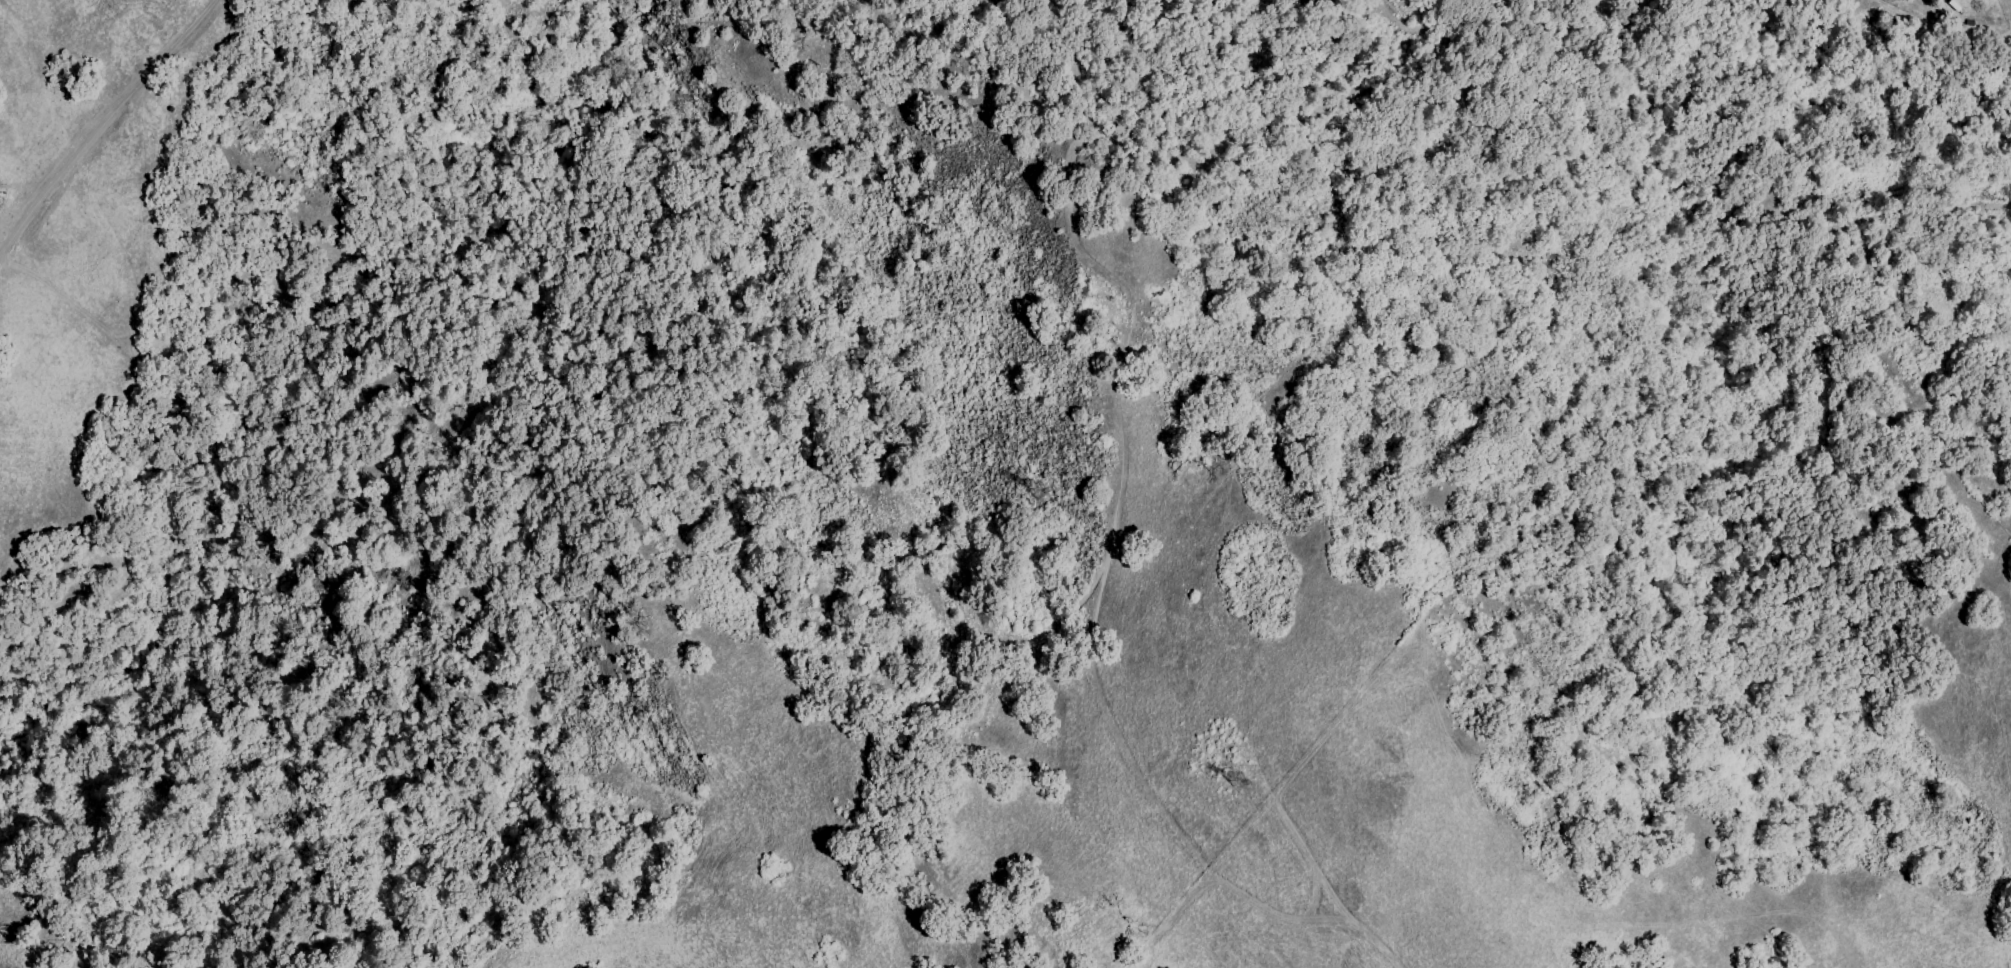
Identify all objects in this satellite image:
road: (100, 122)
power tower: (1013, 494)
power tower: (1232, 784)

